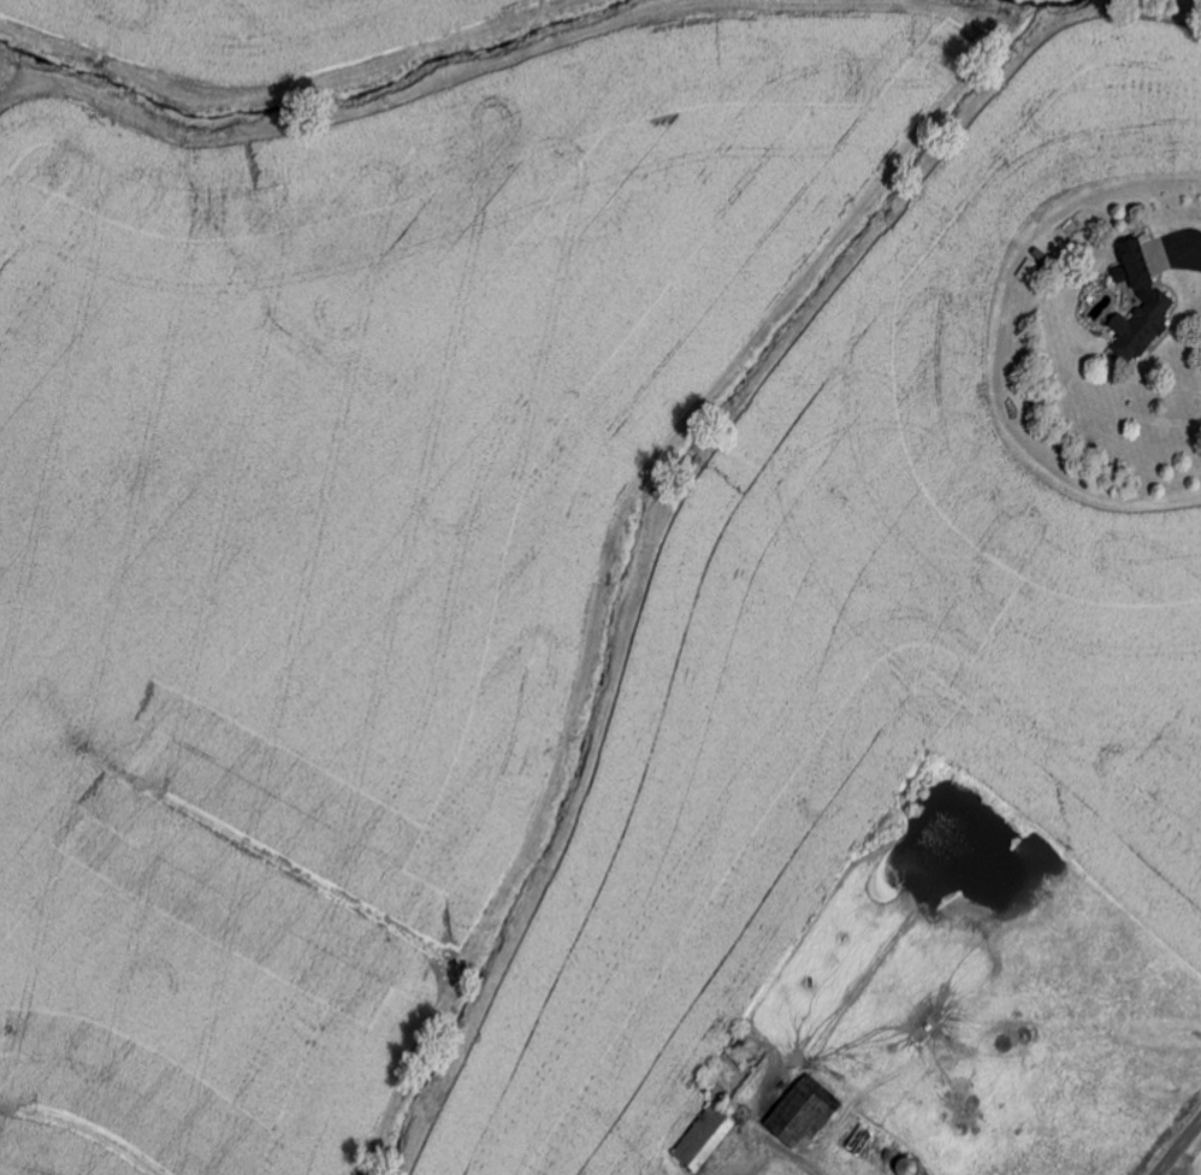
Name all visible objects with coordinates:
road: (1183, 248)
building: (1144, 305)
building: (805, 1115)
building: (708, 1138)
road: (1179, 1149)
road: (792, 1156)

